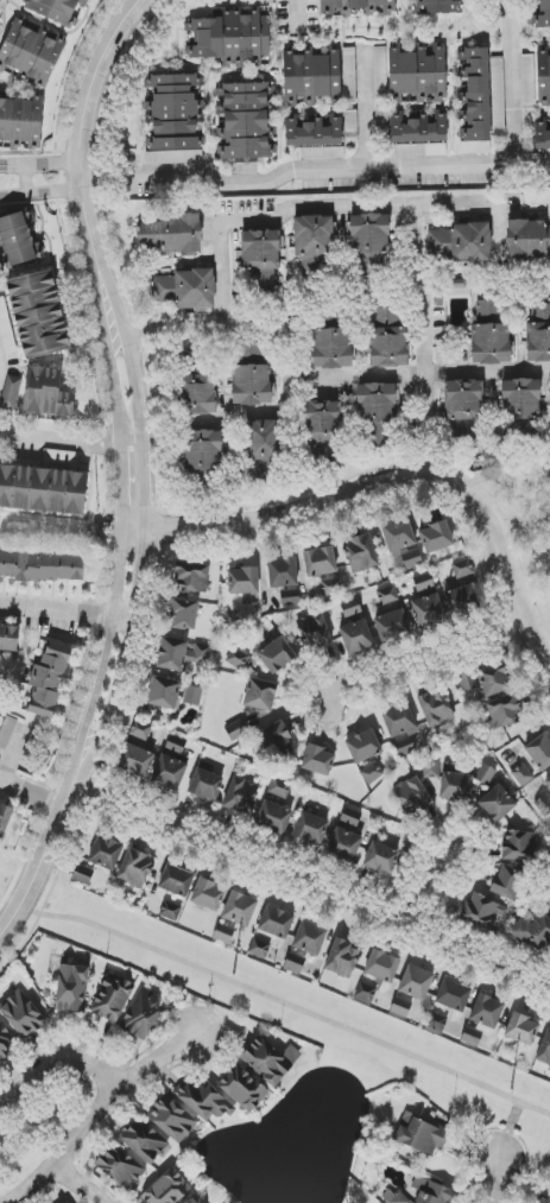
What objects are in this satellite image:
road: (2, 2)
building: (450, 5)
building: (356, 6)
road: (301, 10)
building: (55, 11)
building: (544, 15)
building: (230, 38)
building: (31, 52)
building: (349, 74)
building: (418, 75)
building: (311, 77)
building: (527, 80)
building: (543, 80)
building: (498, 95)
building: (475, 100)
building: (10, 119)
building: (32, 120)
building: (172, 120)
building: (245, 120)
building: (350, 121)
building: (418, 128)
building: (312, 132)
building: (542, 134)
building: (419, 150)
building: (320, 153)
road: (383, 169)
road: (86, 179)
road: (26, 183)
road: (268, 224)
building: (172, 234)
building: (314, 235)
building: (369, 238)
building: (527, 238)
building: (18, 240)
road: (418, 242)
building: (470, 242)
building: (438, 243)
building: (261, 259)
building: (183, 289)
building: (38, 314)
building: (6, 329)
building: (491, 333)
building: (539, 333)
building: (388, 338)
building: (333, 348)
building: (249, 353)
road: (488, 372)
road: (371, 375)
road: (426, 376)
building: (196, 385)
building: (252, 385)
building: (38, 393)
building: (520, 400)
building: (377, 403)
building: (463, 407)
building: (46, 425)
building: (321, 429)
road: (70, 442)
building: (261, 449)
building: (202, 450)
road: (140, 470)
road: (393, 481)
building: (43, 489)
building: (398, 534)
building: (436, 537)
building: (360, 553)
building: (411, 558)
building: (320, 562)
building: (43, 566)
building: (463, 569)
building: (283, 572)
building: (191, 577)
building: (242, 581)
building: (330, 585)
building: (386, 595)
building: (466, 601)
building: (429, 609)
road: (64, 612)
building: (183, 614)
building: (392, 625)
building: (314, 632)
building: (355, 632)
building: (8, 638)
building: (182, 653)
building: (277, 654)
road: (426, 654)
building: (238, 658)
building: (48, 679)
building: (487, 680)
building: (164, 692)
building: (260, 695)
building: (192, 696)
building: (435, 708)
building: (502, 711)
building: (399, 720)
building: (140, 730)
building: (7, 732)
building: (274, 740)
building: (404, 743)
building: (176, 745)
building: (363, 746)
building: (539, 752)
road: (14, 755)
building: (135, 760)
building: (318, 760)
building: (431, 768)
building: (170, 773)
building: (521, 774)
building: (546, 780)
building: (206, 785)
building: (456, 786)
building: (279, 787)
road: (31, 794)
building: (241, 796)
building: (412, 796)
building: (497, 804)
building: (6, 815)
building: (274, 817)
building: (350, 817)
building: (310, 828)
building: (343, 844)
building: (518, 847)
building: (103, 851)
building: (381, 857)
building: (135, 869)
building: (82, 874)
building: (177, 880)
road: (311, 880)
building: (507, 881)
road: (424, 882)
building: (208, 894)
building: (240, 908)
building: (171, 911)
building: (482, 911)
building: (277, 922)
building: (533, 931)
building: (223, 933)
building: (310, 938)
building: (259, 948)
building: (343, 960)
building: (295, 962)
building: (381, 965)
building: (416, 982)
building: (71, 988)
building: (365, 992)
building: (454, 995)
building: (112, 998)
road: (276, 1001)
building: (400, 1007)
building: (487, 1011)
building: (21, 1014)
building: (141, 1014)
building: (437, 1021)
building: (521, 1030)
building: (472, 1037)
building: (5, 1043)
building: (544, 1050)
road: (53, 1060)
road: (157, 1060)
building: (270, 1060)
building: (242, 1088)
building: (206, 1101)
building: (172, 1119)
road: (508, 1132)
building: (421, 1135)
building: (144, 1141)
road: (68, 1147)
building: (120, 1167)
road: (495, 1180)
road: (77, 1184)
building: (166, 1189)
building: (431, 1191)
building: (393, 1197)
building: (194, 1199)
building: (544, 1199)

